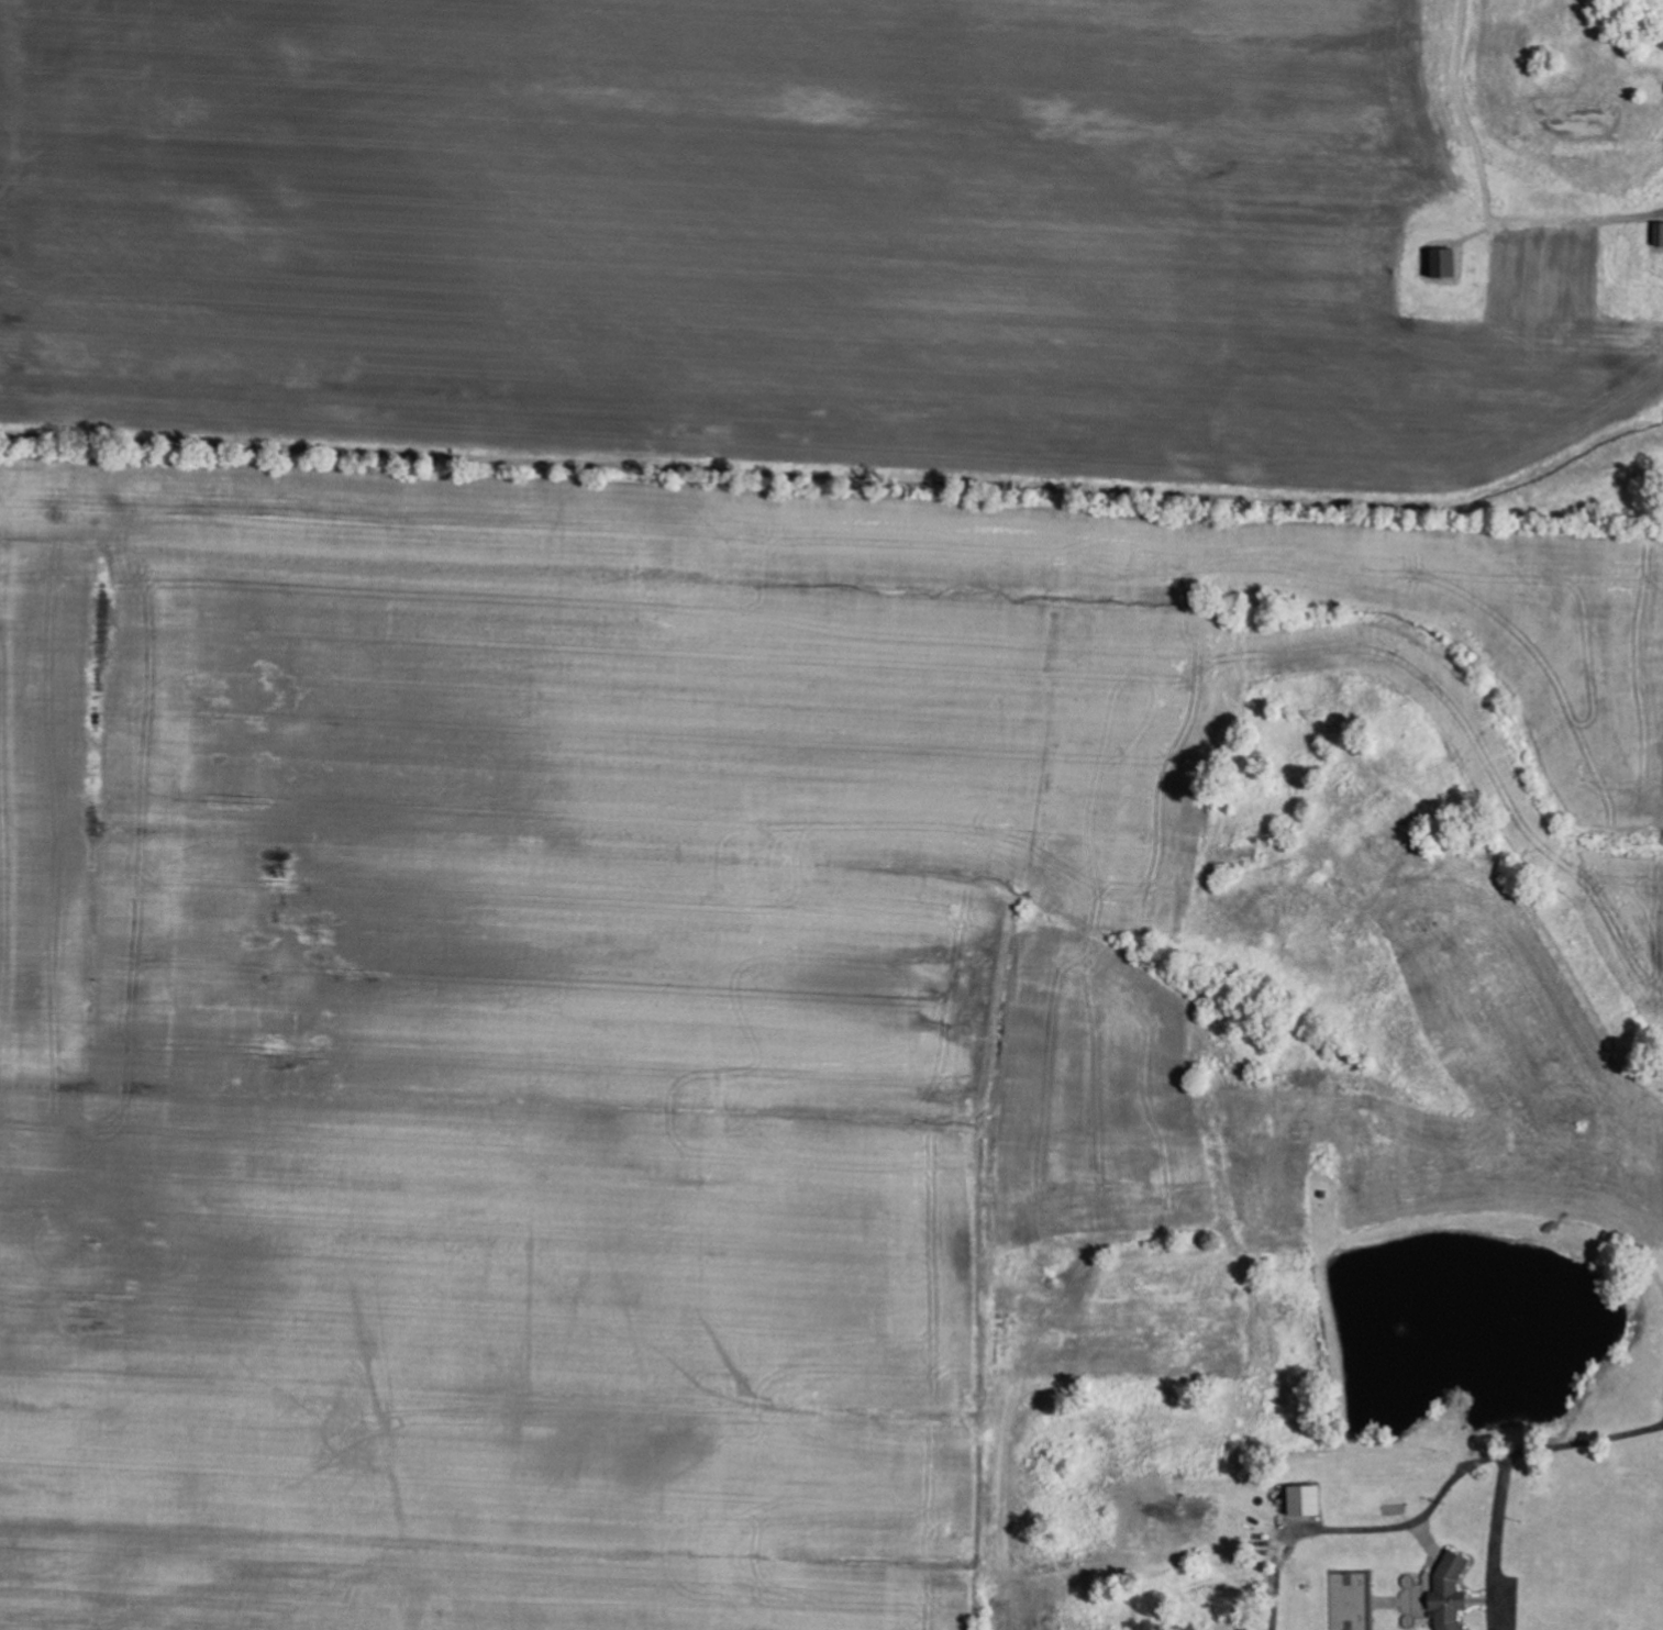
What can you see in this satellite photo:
building: (1446, 264)
road: (1537, 919)
road: (1339, 1406)
road: (1585, 1441)
building: (1307, 1500)
road: (1361, 1528)
road: (1496, 1542)
building: (1452, 1592)
building: (1418, 1597)

